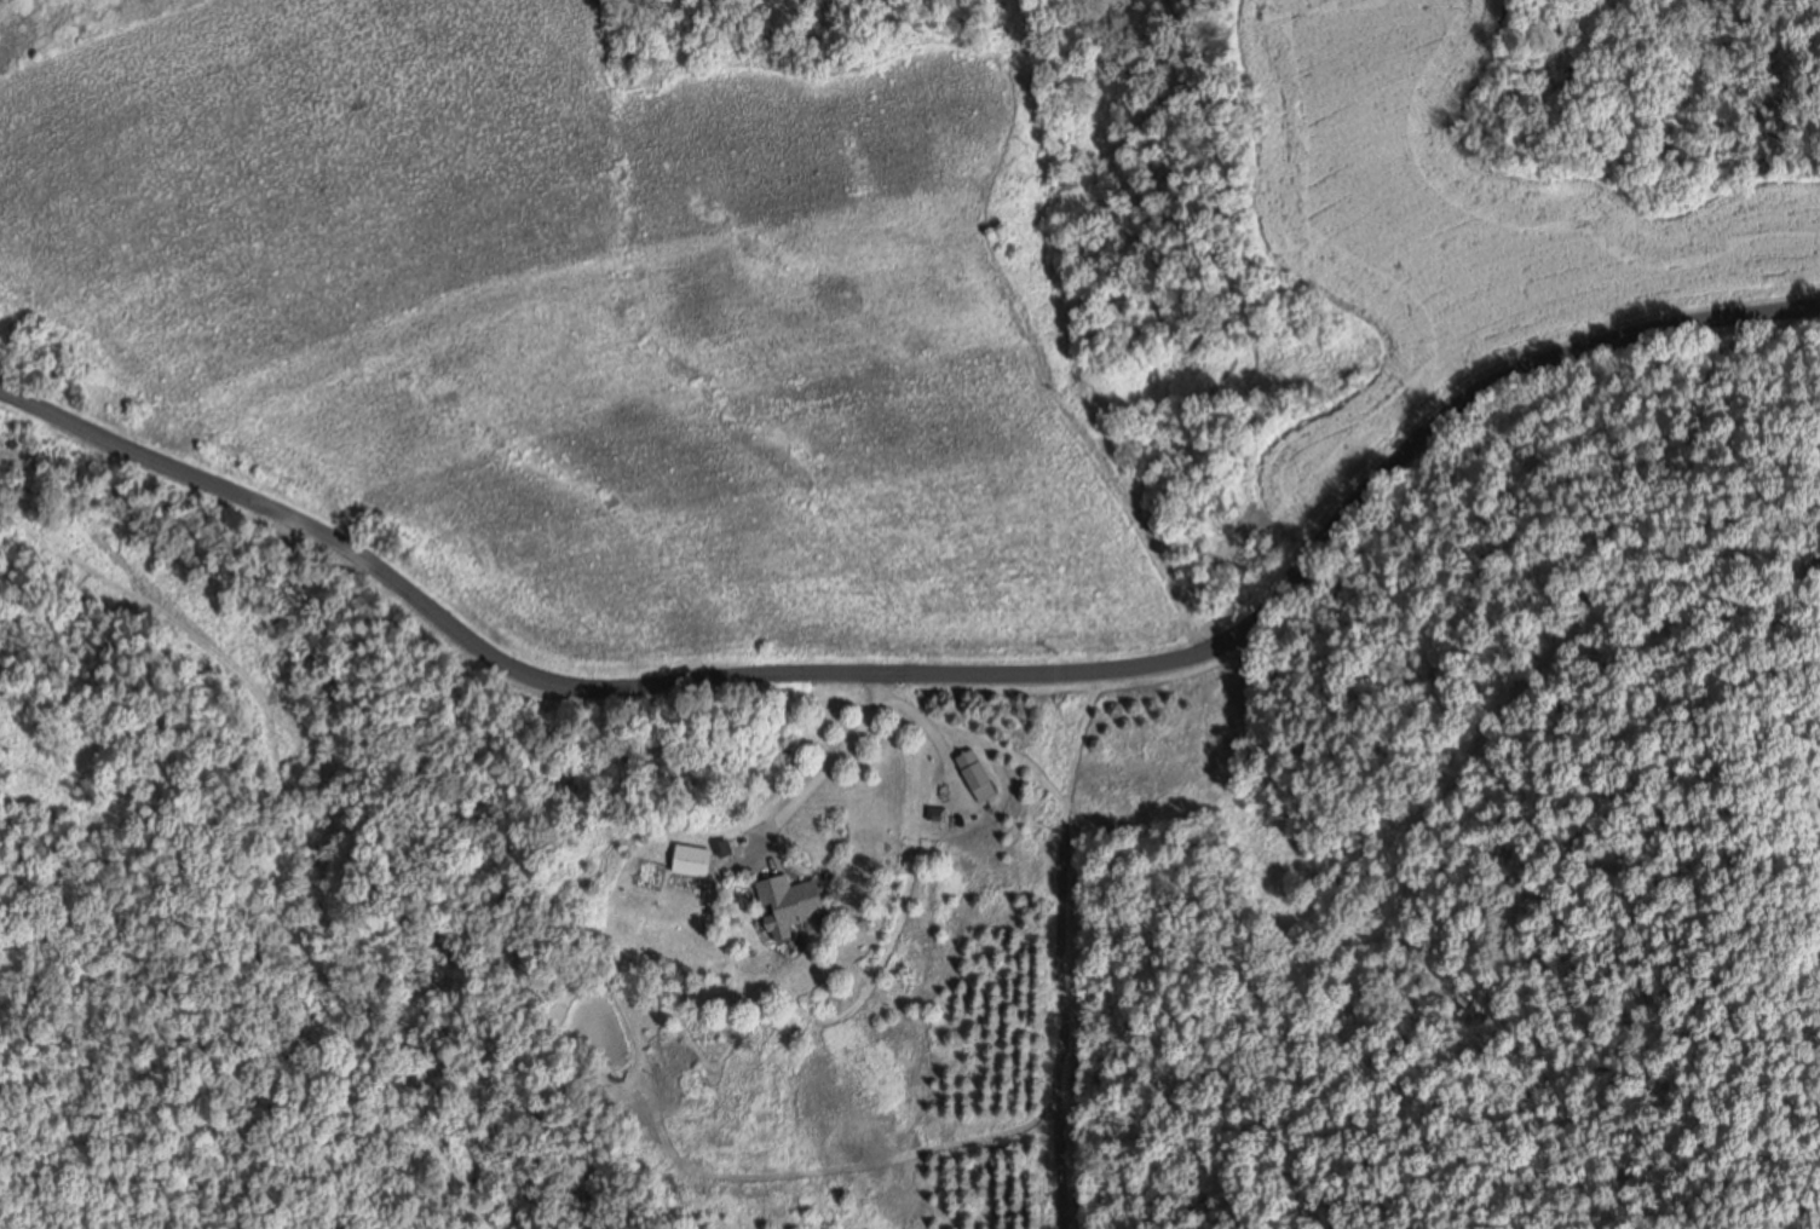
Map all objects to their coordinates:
road: (926, 663)
road: (933, 726)
road: (831, 758)
building: (978, 773)
building: (699, 858)
building: (796, 898)

